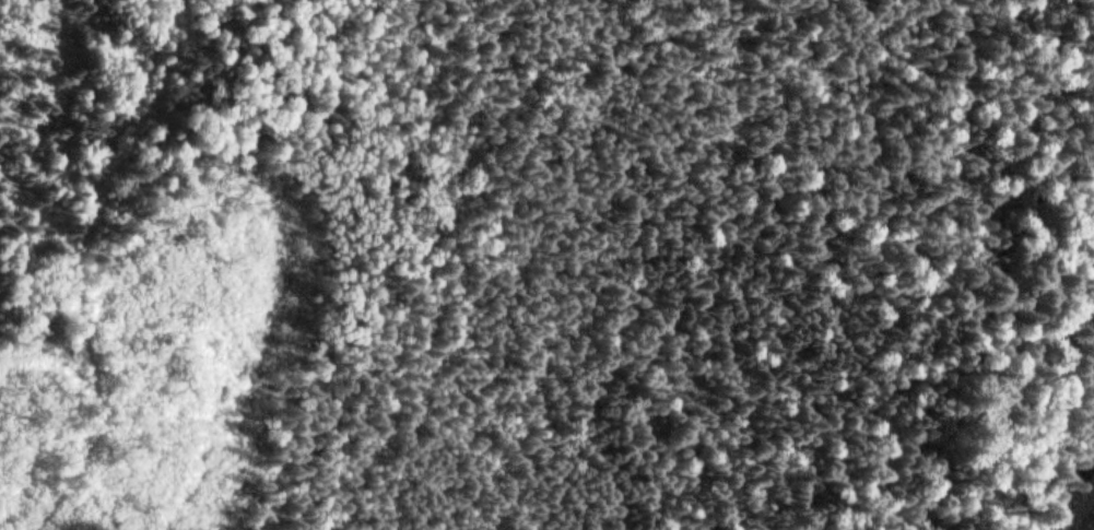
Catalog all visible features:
river: (1091, 523)

